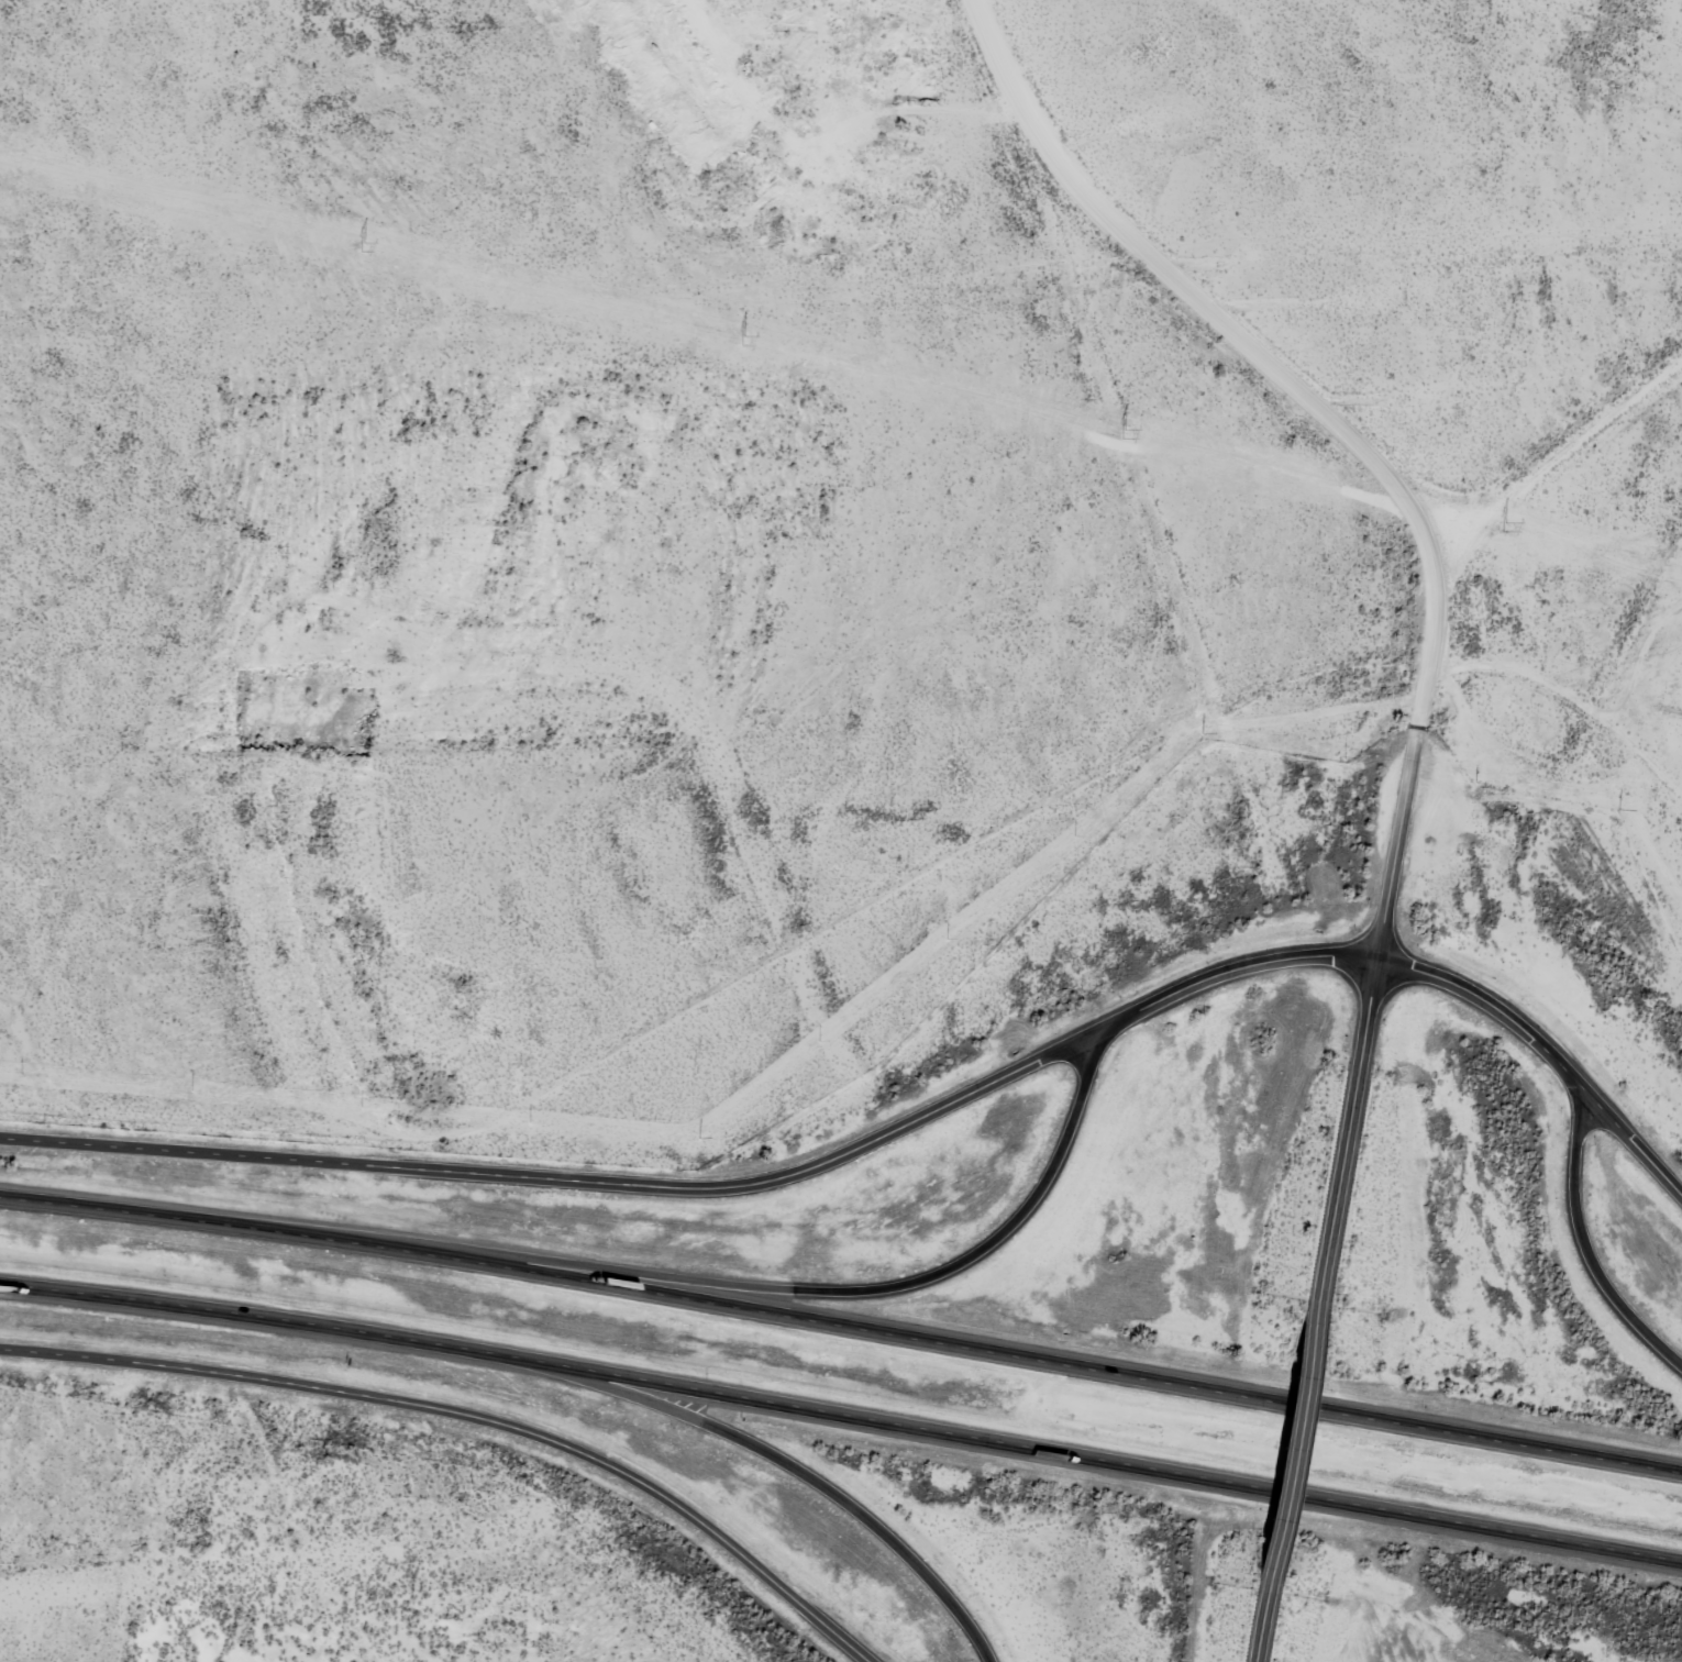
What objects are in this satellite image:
power tower: (364, 246)
power tower: (744, 340)
road: (1343, 426)
power tower: (1125, 433)
road: (1559, 467)
power tower: (1505, 527)
road: (1425, 967)
road: (1347, 1129)
road: (567, 1177)
road: (1592, 1240)
road: (980, 1250)
road: (843, 1308)
road: (466, 1421)
road: (841, 1425)
road: (1296, 1439)
road: (783, 1455)
road: (1264, 1618)

